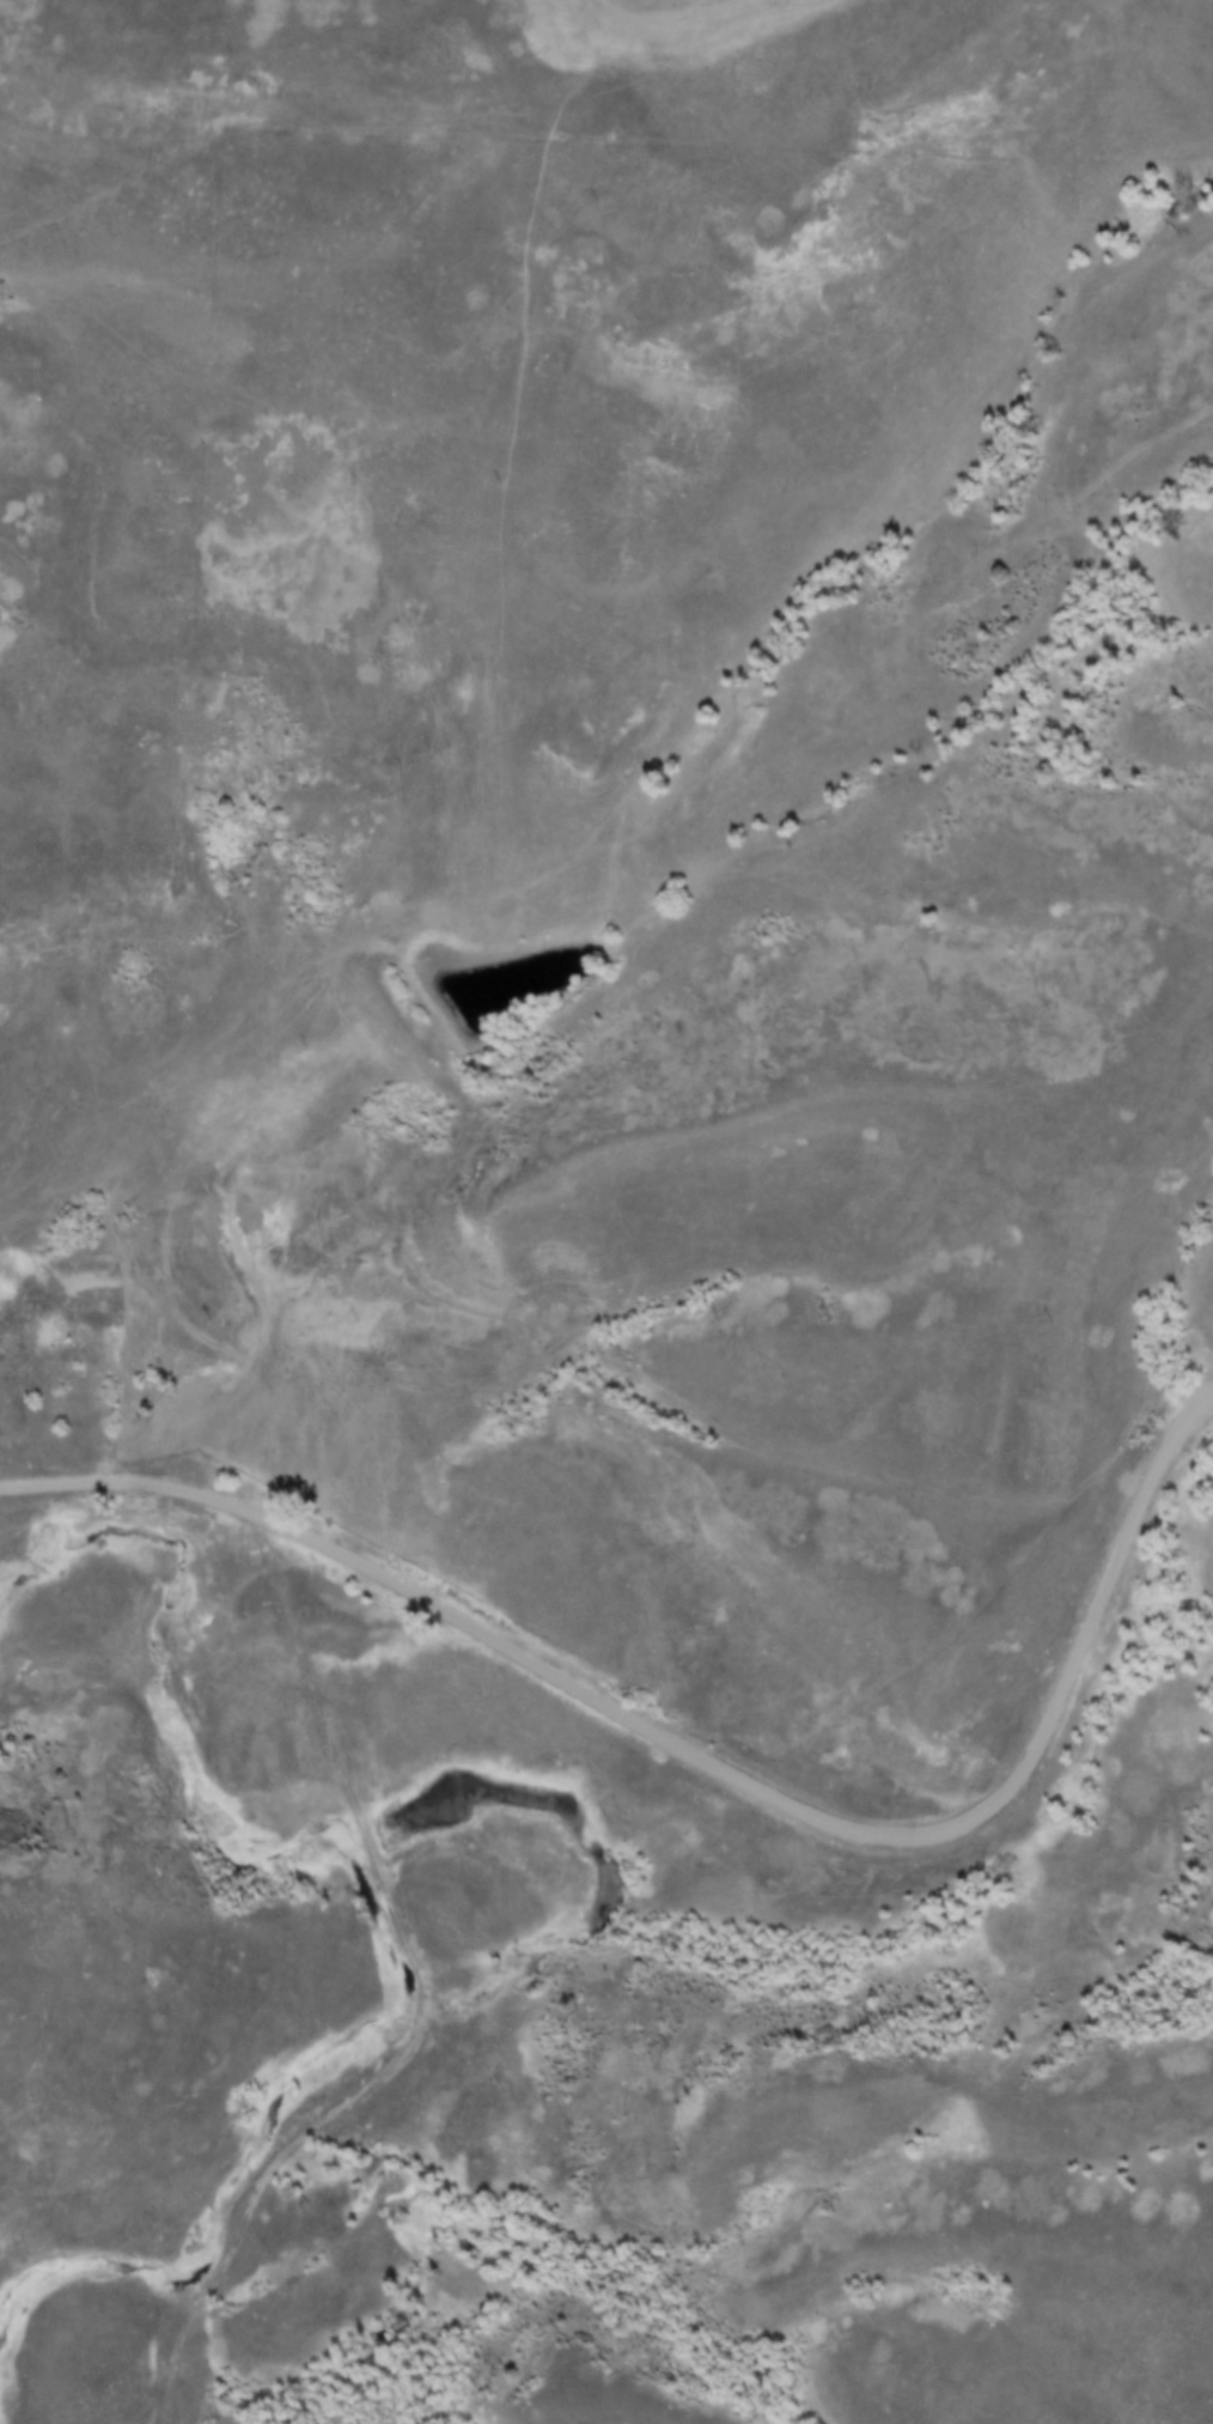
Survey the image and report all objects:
road: (712, 1760)
road: (425, 2003)

